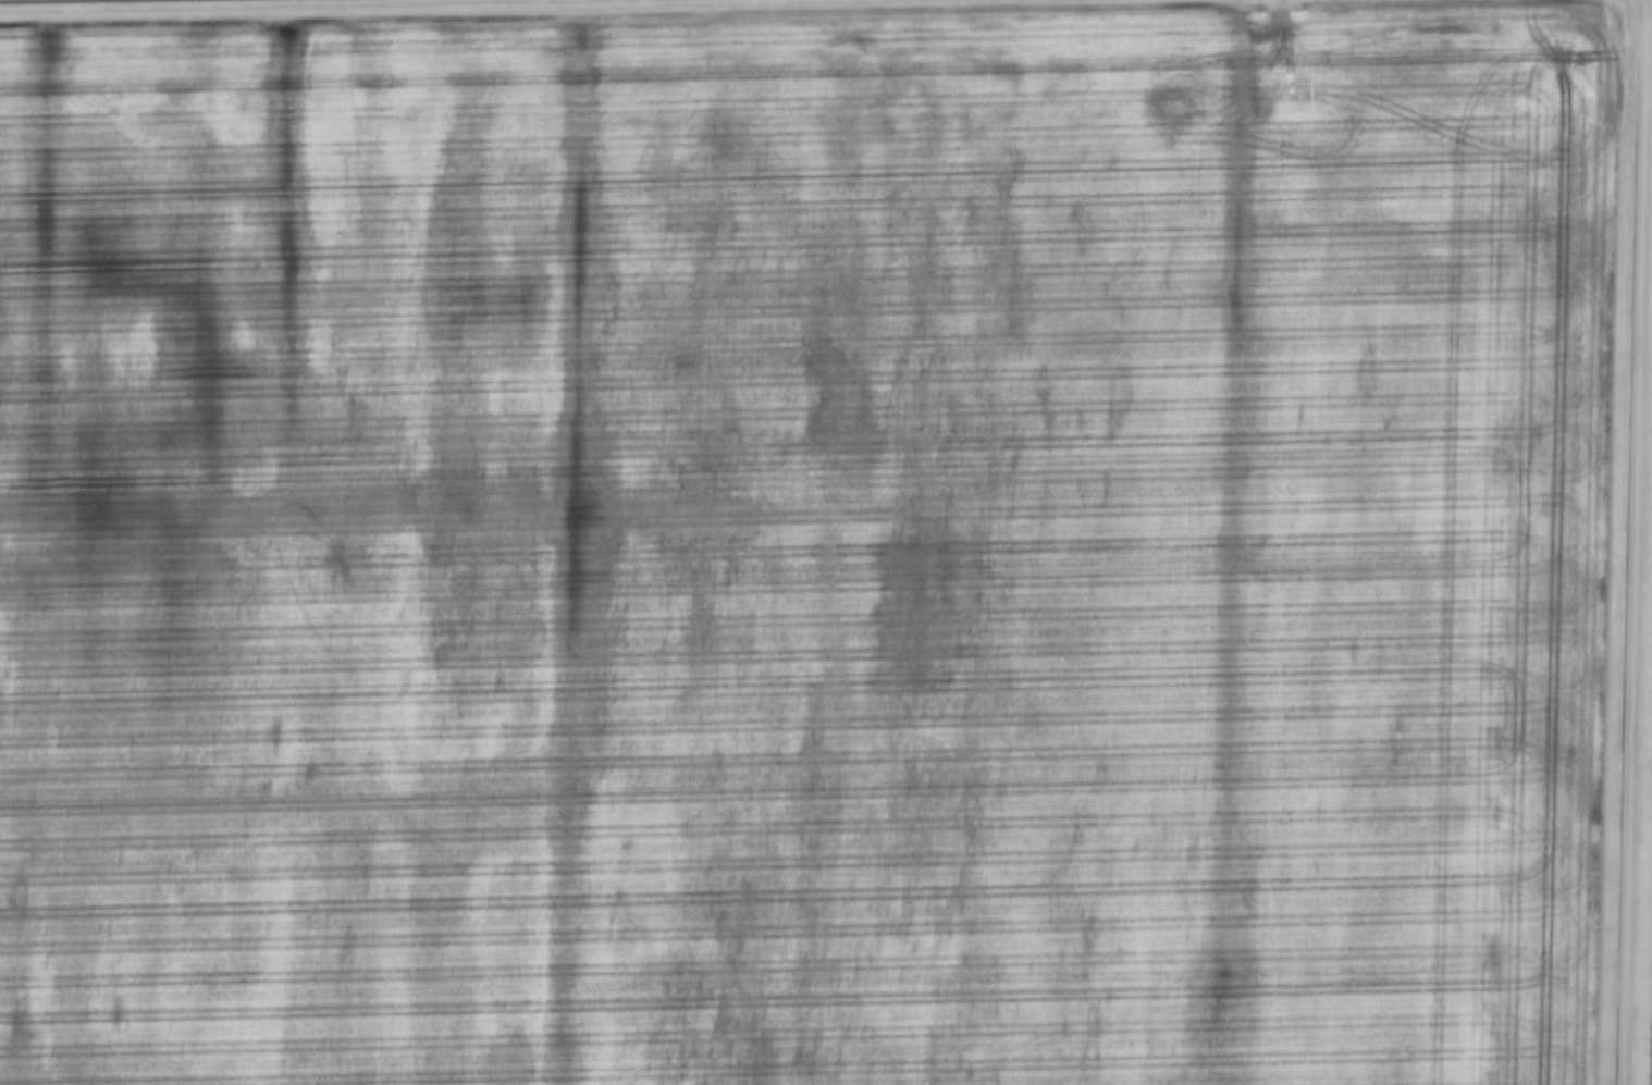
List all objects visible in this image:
road: (1639, 542)

